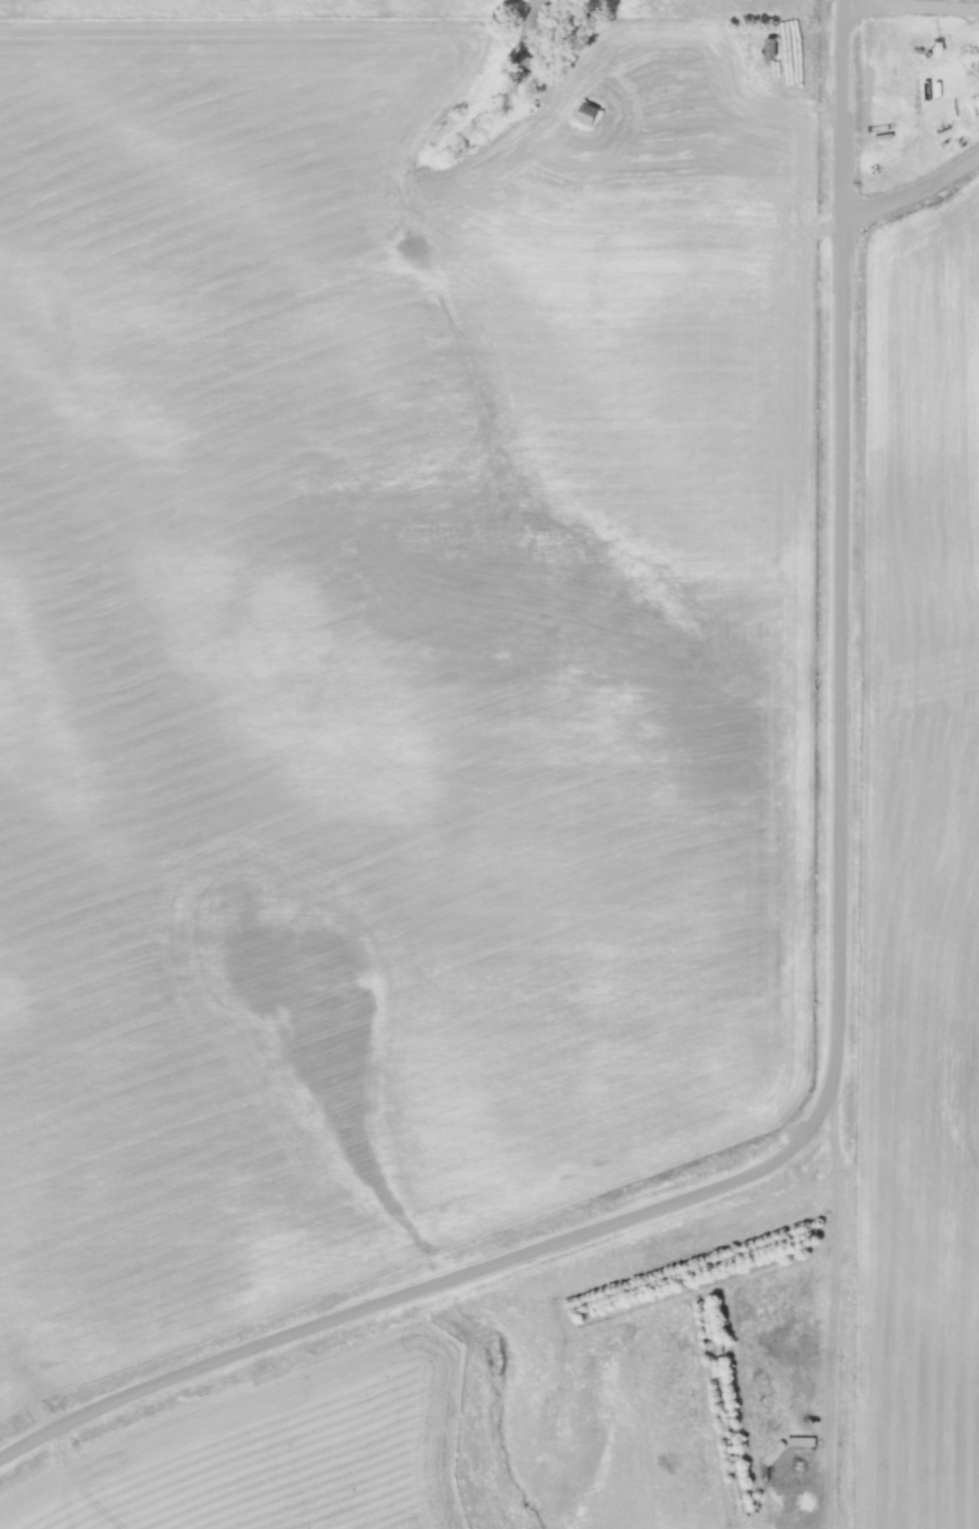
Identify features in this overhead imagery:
road: (912, 5)
building: (775, 46)
building: (591, 113)
road: (915, 201)
road: (838, 1010)

